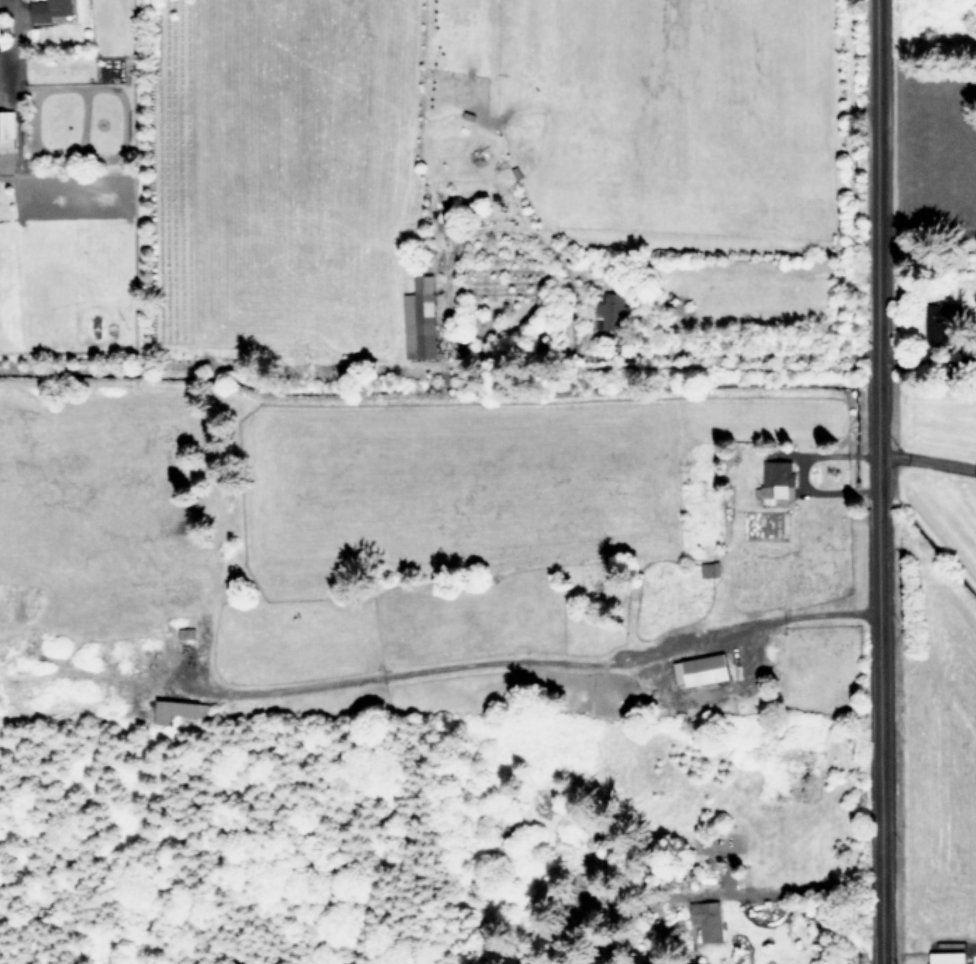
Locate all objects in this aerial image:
building: (50, 8)
building: (0, 32)
building: (7, 128)
road: (924, 225)
building: (612, 310)
building: (420, 318)
building: (942, 325)
road: (659, 353)
road: (925, 454)
building: (777, 480)
road: (874, 482)
building: (710, 568)
building: (702, 668)
building: (175, 709)
road: (803, 892)
building: (713, 921)
building: (948, 957)

